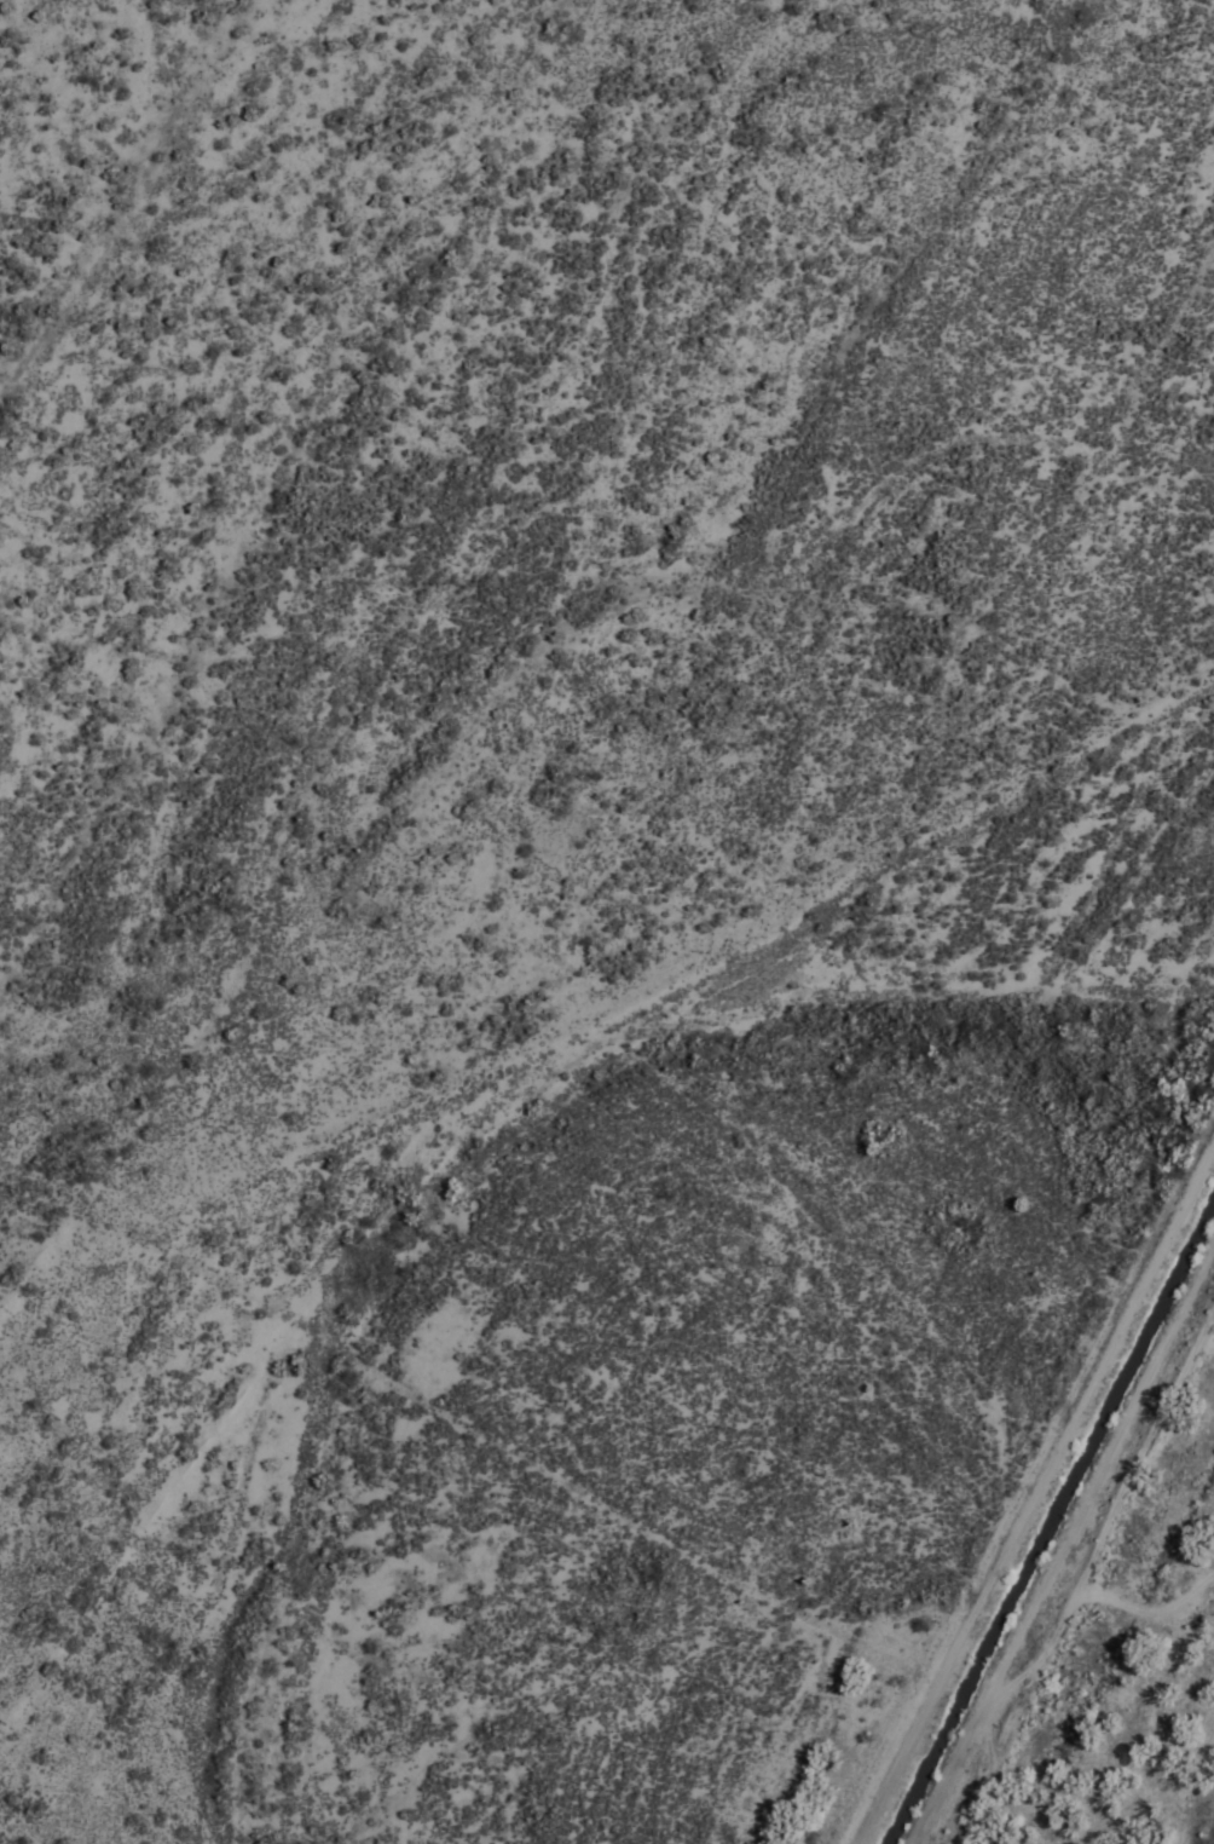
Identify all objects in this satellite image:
road: (440, 1450)

